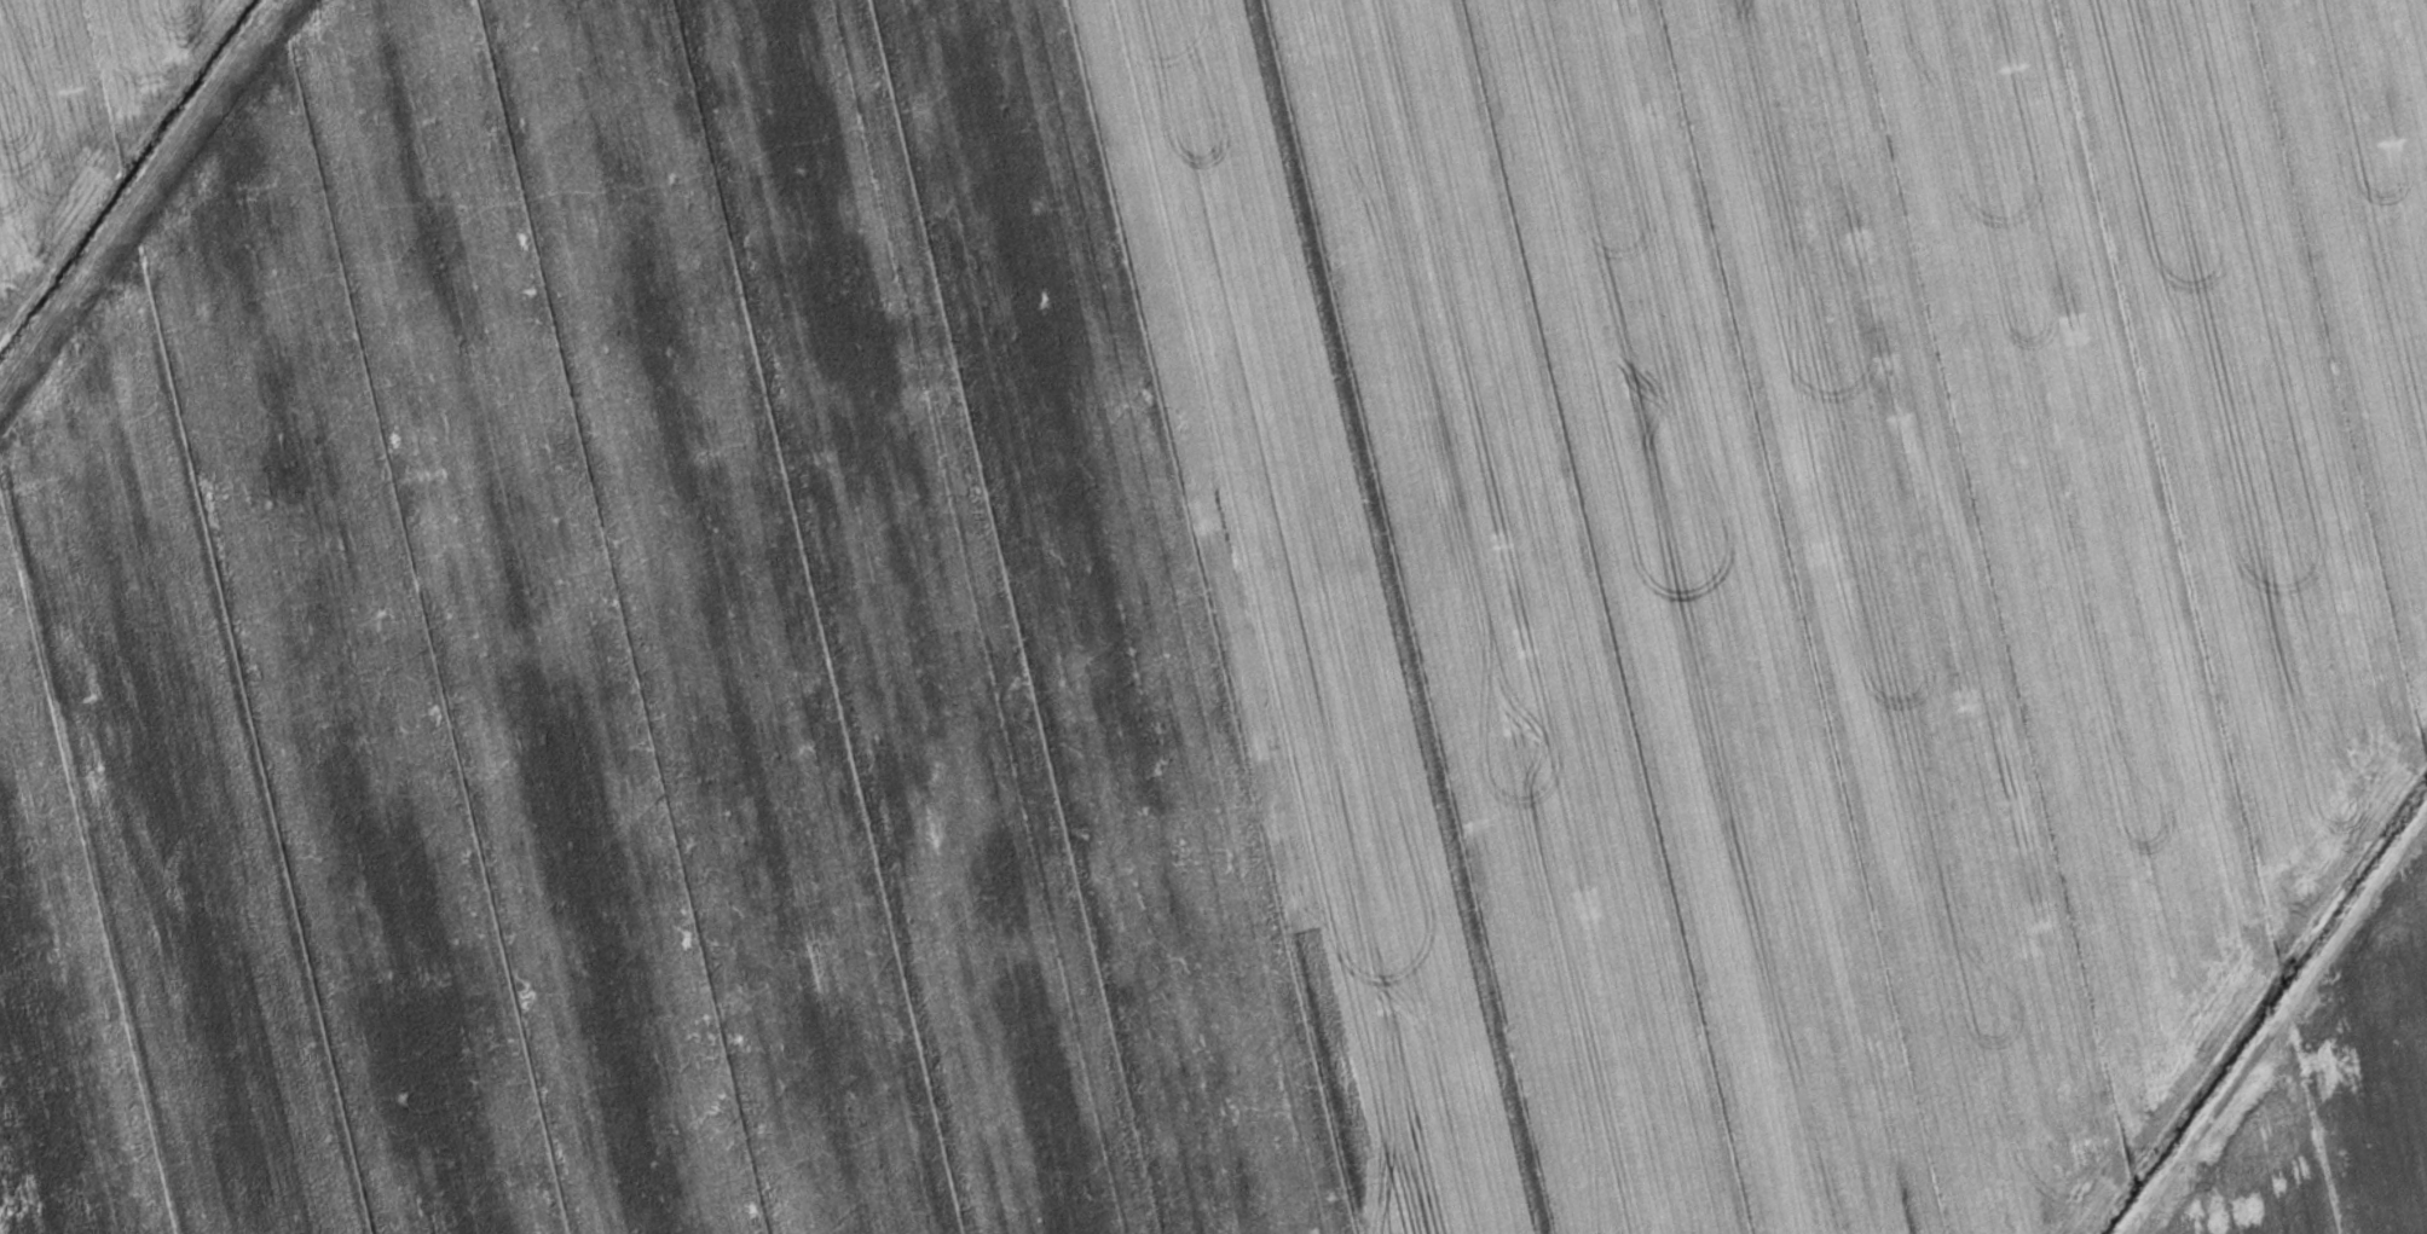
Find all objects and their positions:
crop: (2329, 1096)

